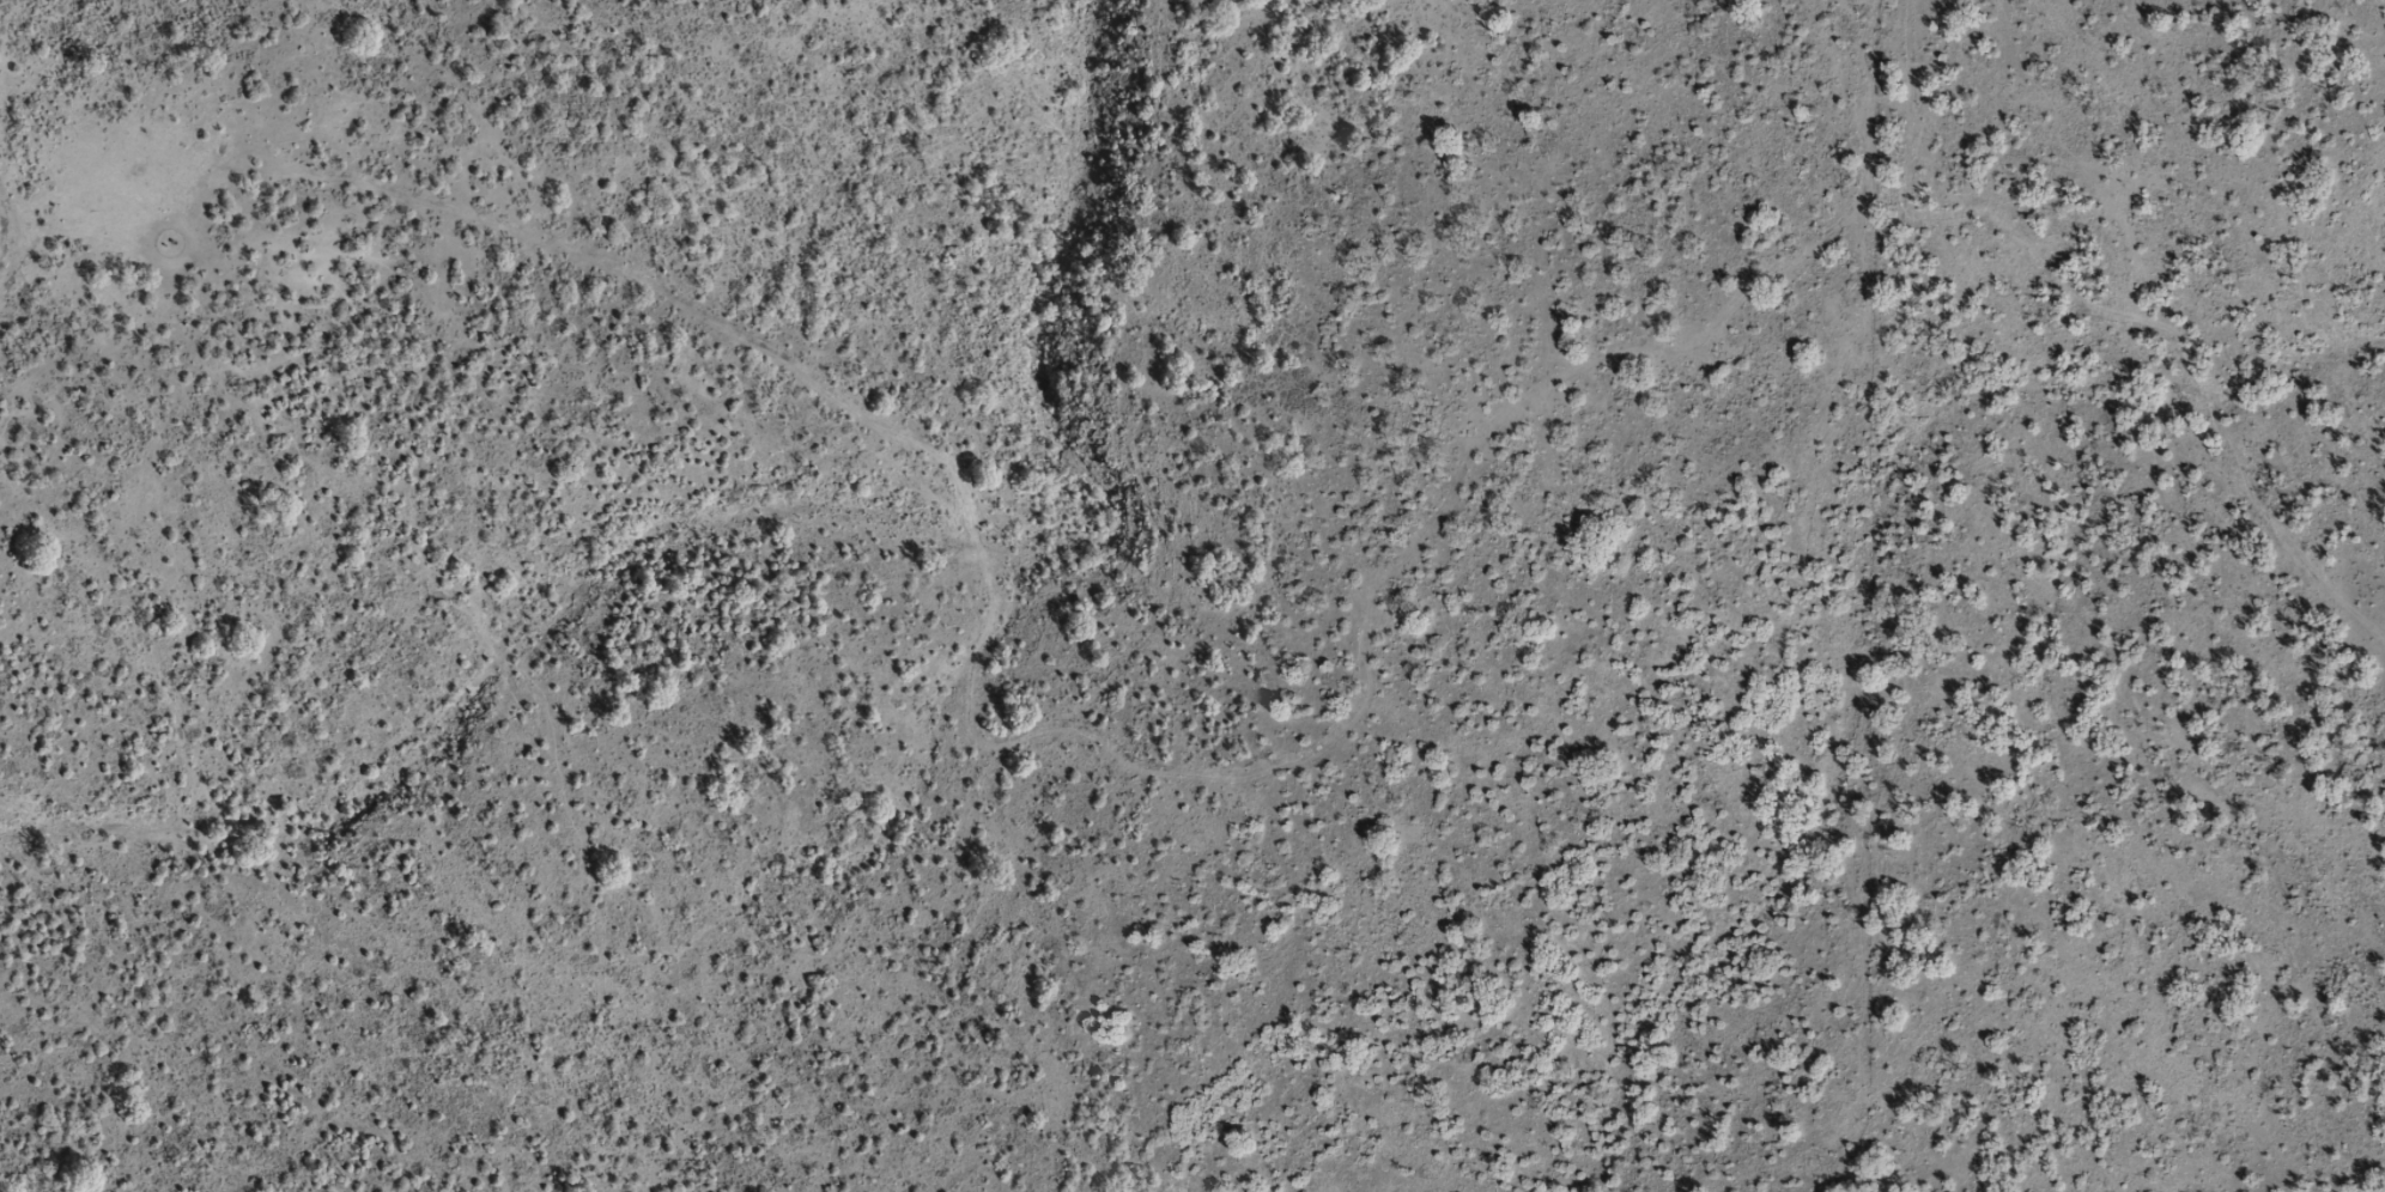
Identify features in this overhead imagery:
road: (26, 238)

